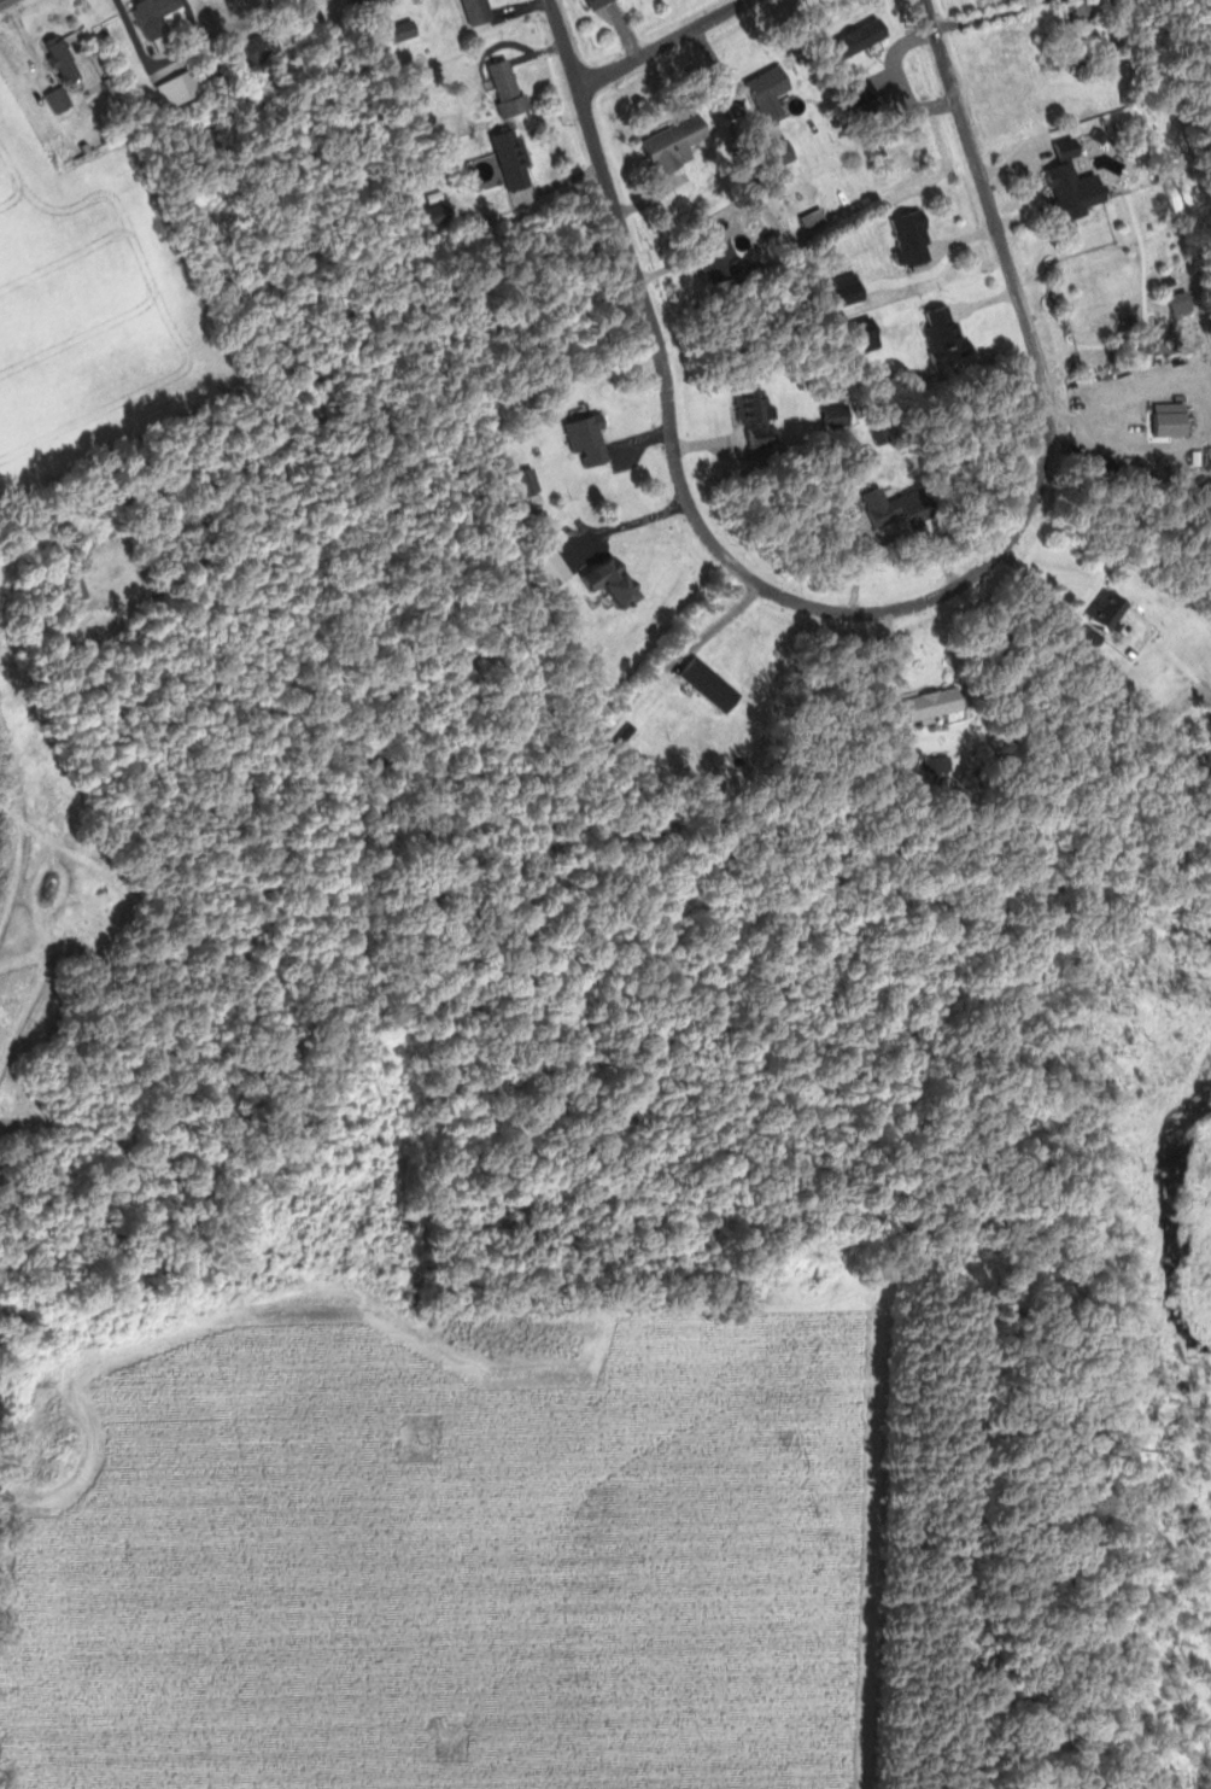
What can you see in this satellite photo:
road: (4, 1)
building: (362, 2)
building: (599, 2)
road: (726, 10)
building: (481, 11)
road: (984, 14)
building: (159, 16)
building: (408, 30)
building: (265, 47)
building: (66, 60)
road: (602, 78)
building: (510, 88)
building: (183, 89)
building: (773, 89)
building: (62, 100)
building: (679, 145)
building: (517, 160)
building: (1075, 186)
building: (443, 215)
building: (915, 240)
building: (724, 268)
building: (852, 290)
road: (1028, 318)
building: (949, 334)
building: (867, 335)
building: (839, 416)
building: (760, 417)
road: (674, 433)
building: (592, 440)
building: (532, 489)
building: (906, 507)
building: (558, 568)
building: (619, 579)
building: (70, 589)
building: (1113, 610)
building: (943, 701)

